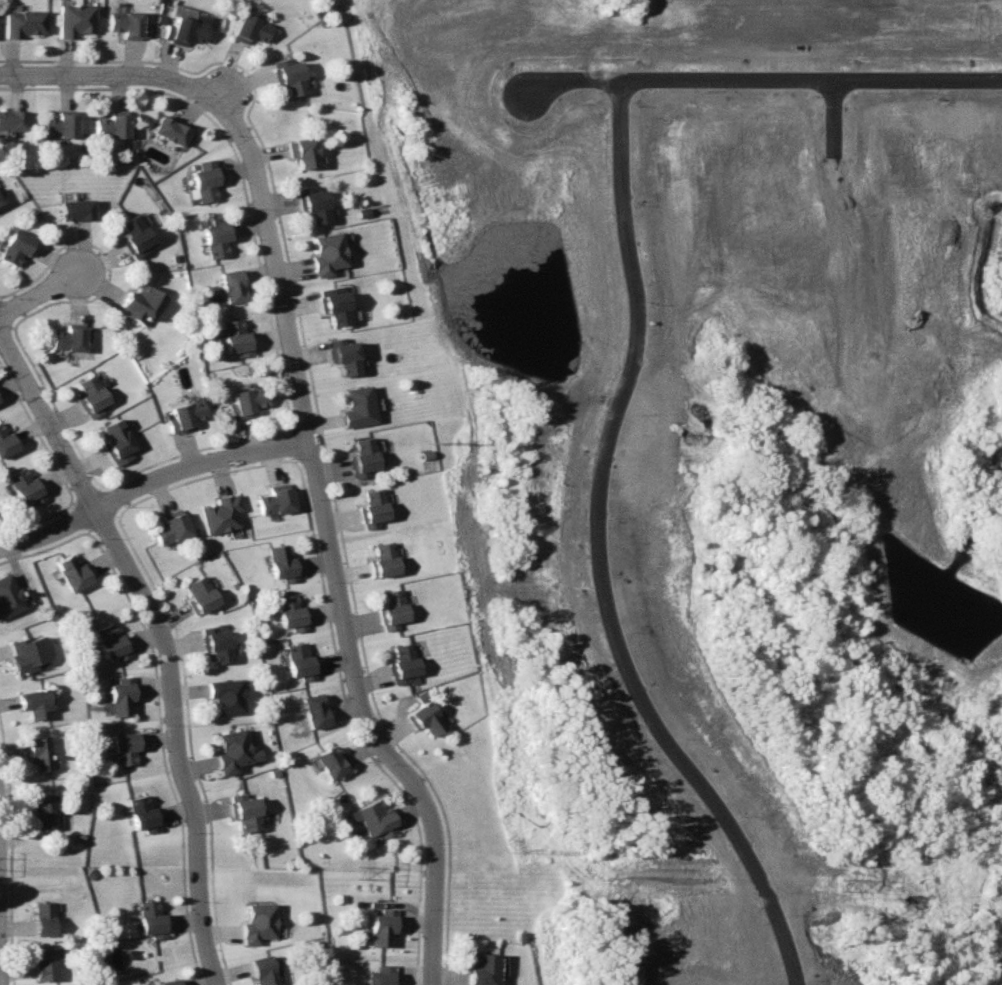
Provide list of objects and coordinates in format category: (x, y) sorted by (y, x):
building: (75, 19)
building: (24, 21)
building: (128, 23)
building: (251, 28)
building: (186, 29)
road: (111, 73)
building: (290, 75)
road: (571, 75)
road: (222, 93)
building: (13, 119)
building: (62, 125)
building: (114, 126)
building: (173, 130)
building: (304, 151)
building: (206, 181)
building: (0, 199)
building: (0, 202)
building: (316, 204)
building: (78, 209)
building: (136, 234)
building: (219, 235)
building: (17, 246)
building: (329, 253)
building: (235, 286)
road: (40, 292)
building: (141, 303)
building: (337, 306)
building: (71, 337)
building: (237, 337)
building: (347, 356)
road: (627, 366)
building: (92, 395)
building: (246, 401)
building: (359, 406)
building: (186, 416)
building: (118, 441)
building: (6, 443)
power tower: (439, 443)
building: (364, 458)
road: (197, 464)
building: (26, 486)
building: (275, 501)
building: (374, 508)
building: (221, 515)
building: (171, 529)
road: (48, 531)
road: (328, 546)
building: (385, 559)
building: (282, 562)
building: (72, 573)
building: (201, 595)
building: (8, 597)
building: (394, 608)
building: (291, 613)
road: (164, 638)
building: (111, 642)
building: (217, 643)
building: (29, 653)
building: (301, 661)
building: (404, 664)
building: (228, 696)
building: (121, 697)
building: (36, 703)
building: (316, 710)
building: (426, 718)
building: (127, 747)
building: (233, 750)
building: (40, 754)
building: (331, 761)
building: (45, 811)
building: (145, 814)
building: (247, 814)
building: (375, 820)
power tower: (511, 849)
building: (46, 918)
building: (154, 918)
building: (260, 922)
building: (384, 925)
building: (45, 962)
building: (486, 968)
building: (265, 970)
road: (0, 973)
building: (386, 975)
road: (0, 980)
building: (170, 981)

